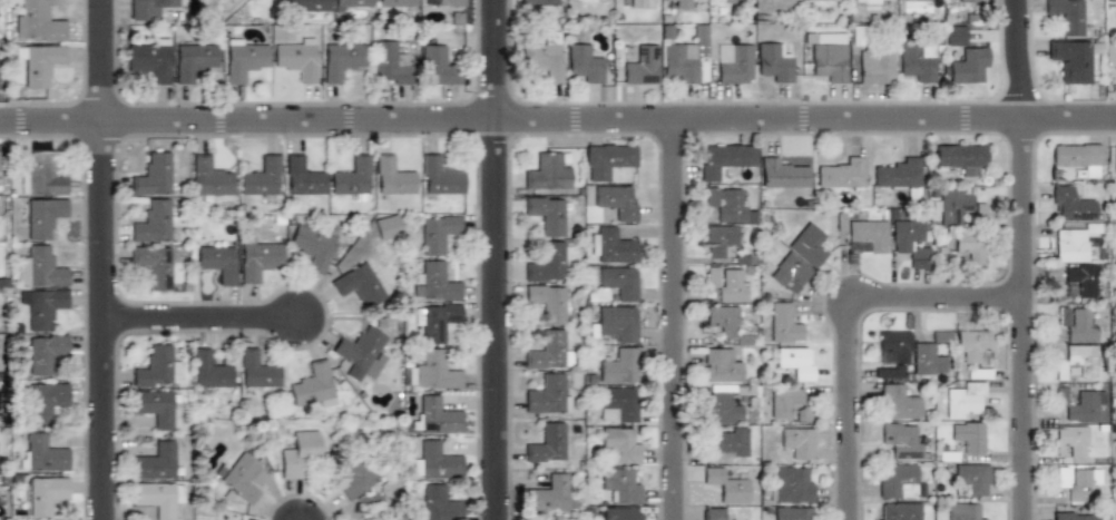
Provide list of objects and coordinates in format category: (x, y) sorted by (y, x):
building: (823, 0)
building: (969, 0)
building: (587, 1)
building: (865, 2)
building: (352, 3)
building: (397, 3)
building: (443, 3)
building: (637, 3)
building: (307, 4)
building: (682, 4)
building: (538, 6)
building: (148, 8)
building: (1067, 16)
building: (37, 21)
building: (1110, 55)
building: (544, 56)
building: (828, 56)
building: (685, 57)
building: (965, 57)
building: (295, 58)
building: (150, 60)
building: (193, 60)
building: (244, 60)
building: (341, 60)
building: (1071, 60)
building: (40, 61)
building: (917, 61)
building: (734, 62)
building: (773, 62)
building: (389, 63)
building: (584, 63)
building: (640, 65)
building: (875, 65)
building: (437, 66)
road: (558, 120)
building: (960, 157)
building: (1078, 158)
building: (724, 159)
building: (1114, 159)
building: (607, 161)
building: (546, 171)
building: (154, 174)
building: (781, 174)
building: (842, 174)
building: (42, 175)
building: (261, 176)
building: (440, 176)
building: (901, 176)
building: (211, 177)
building: (393, 177)
building: (304, 178)
building: (352, 179)
building: (615, 202)
building: (1069, 204)
building: (727, 205)
building: (953, 207)
building: (547, 215)
building: (43, 216)
building: (154, 223)
building: (386, 227)
building: (434, 233)
building: (867, 236)
building: (905, 237)
building: (718, 239)
building: (807, 244)
building: (1069, 245)
building: (610, 246)
building: (969, 246)
building: (312, 247)
building: (256, 258)
road: (102, 259)
road: (496, 259)
road: (1024, 259)
building: (216, 261)
building: (547, 262)
building: (156, 264)
building: (40, 267)
building: (789, 273)
building: (1080, 281)
building: (435, 282)
building: (618, 283)
building: (359, 284)
building: (727, 285)
building: (548, 302)
building: (43, 307)
road: (202, 317)
road: (674, 320)
building: (722, 320)
building: (434, 321)
building: (616, 322)
building: (783, 323)
road: (850, 323)
building: (1076, 323)
building: (547, 350)
building: (975, 351)
building: (360, 352)
building: (45, 353)
building: (892, 353)
building: (930, 354)
building: (1077, 361)
building: (794, 362)
building: (618, 365)
building: (719, 365)
building: (157, 366)
building: (211, 371)
building: (429, 371)
building: (257, 372)
building: (312, 385)
building: (548, 394)
building: (46, 401)
building: (787, 401)
building: (963, 401)
building: (898, 402)
building: (723, 403)
building: (617, 404)
building: (154, 406)
building: (1084, 406)
building: (434, 415)
building: (968, 435)
building: (901, 439)
building: (1071, 440)
building: (796, 442)
building: (546, 443)
building: (620, 444)
building: (727, 444)
building: (41, 453)
building: (296, 453)
building: (154, 462)
building: (434, 462)
building: (241, 477)
building: (353, 477)
building: (969, 479)
building: (899, 481)
building: (1077, 482)
building: (620, 484)
building: (791, 485)
building: (726, 487)
building: (46, 494)
building: (549, 494)
building: (154, 498)
building: (437, 502)
building: (898, 511)
building: (966, 511)
building: (621, 513)
building: (713, 513)
building: (792, 513)
building: (1074, 516)
building: (1115, 516)

